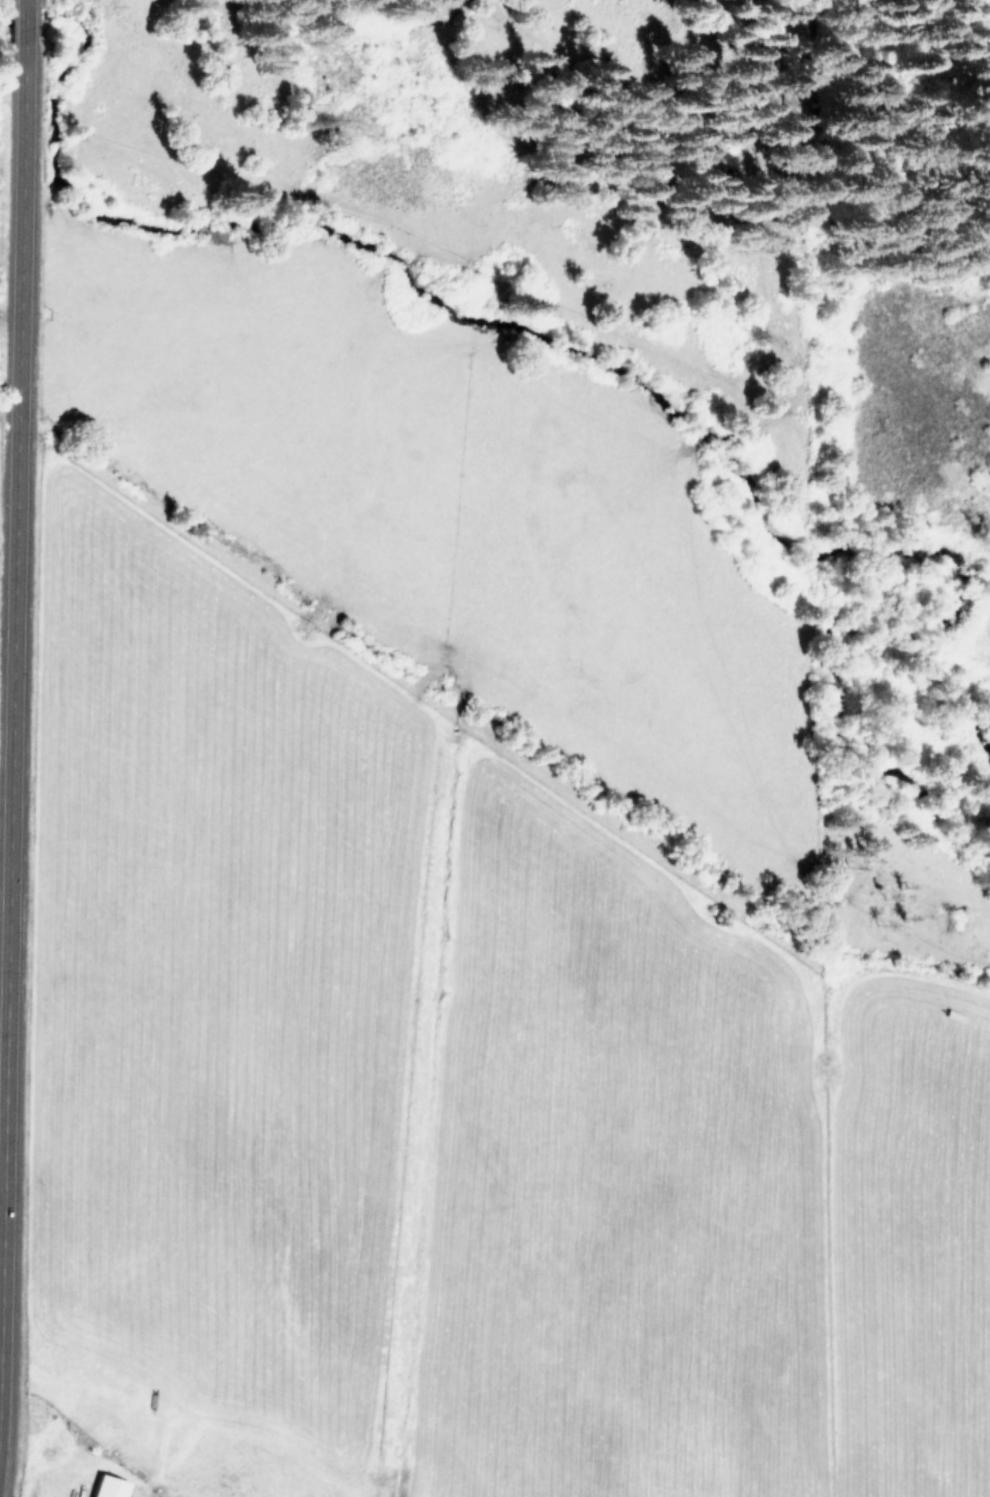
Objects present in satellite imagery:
crop: (0, 412)
road: (18, 616)
crop: (443, 972)
building: (111, 1486)

